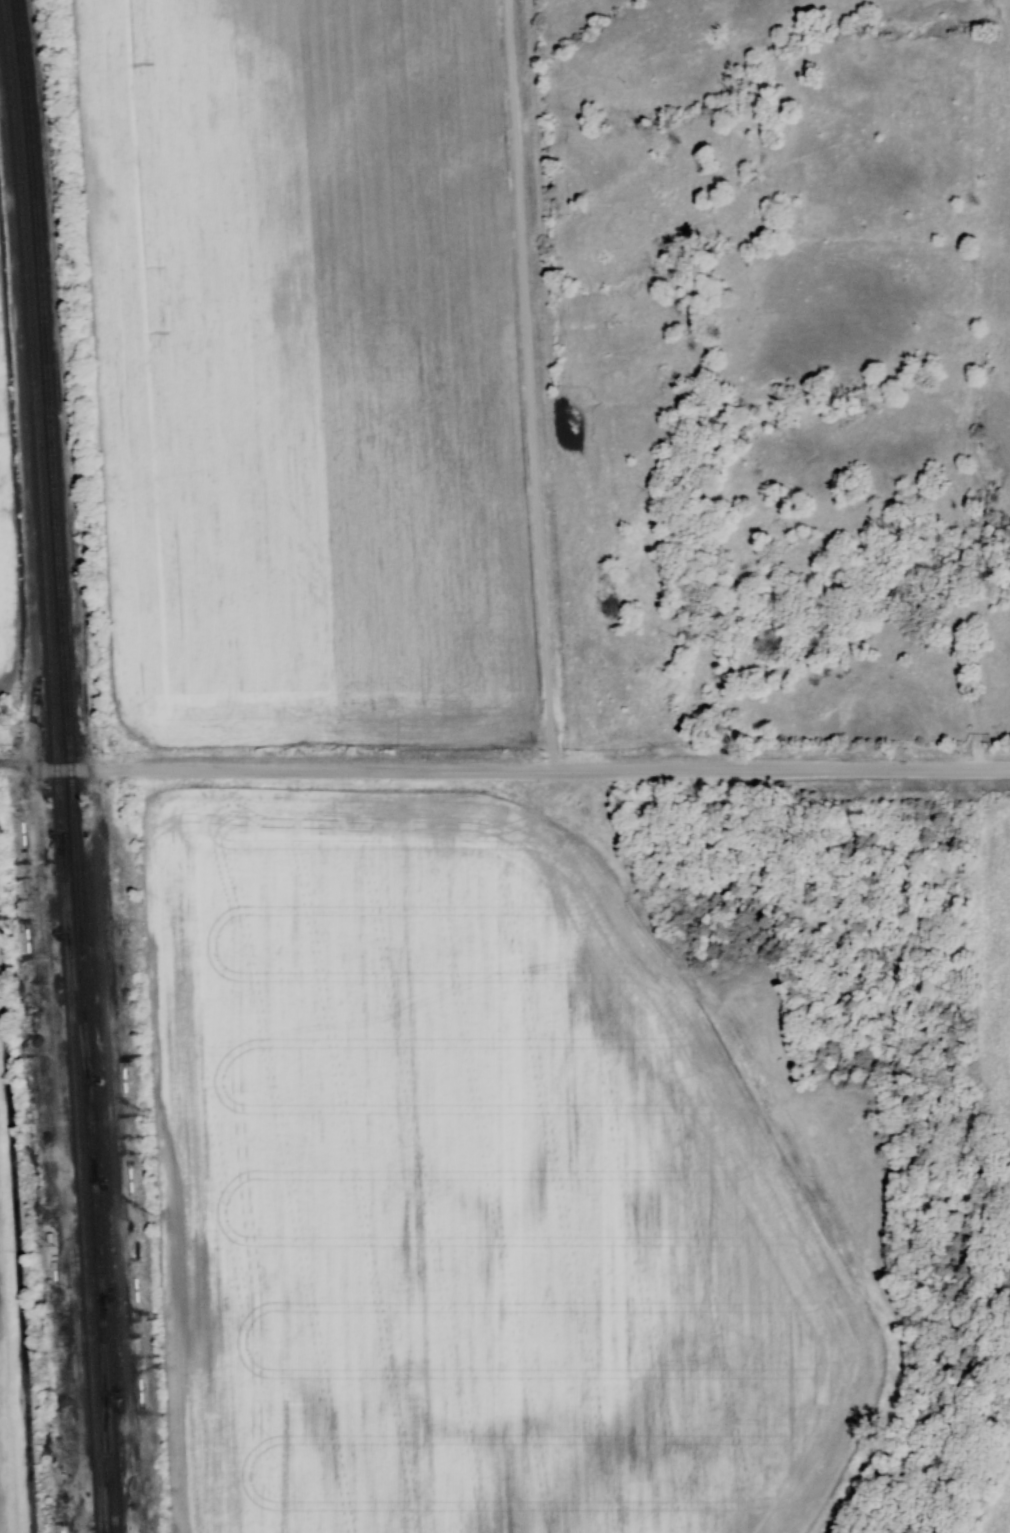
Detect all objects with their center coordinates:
road: (528, 383)
railway: (71, 765)
railway: (54, 767)
road: (532, 767)
railway: (75, 996)
railway: (103, 1434)

